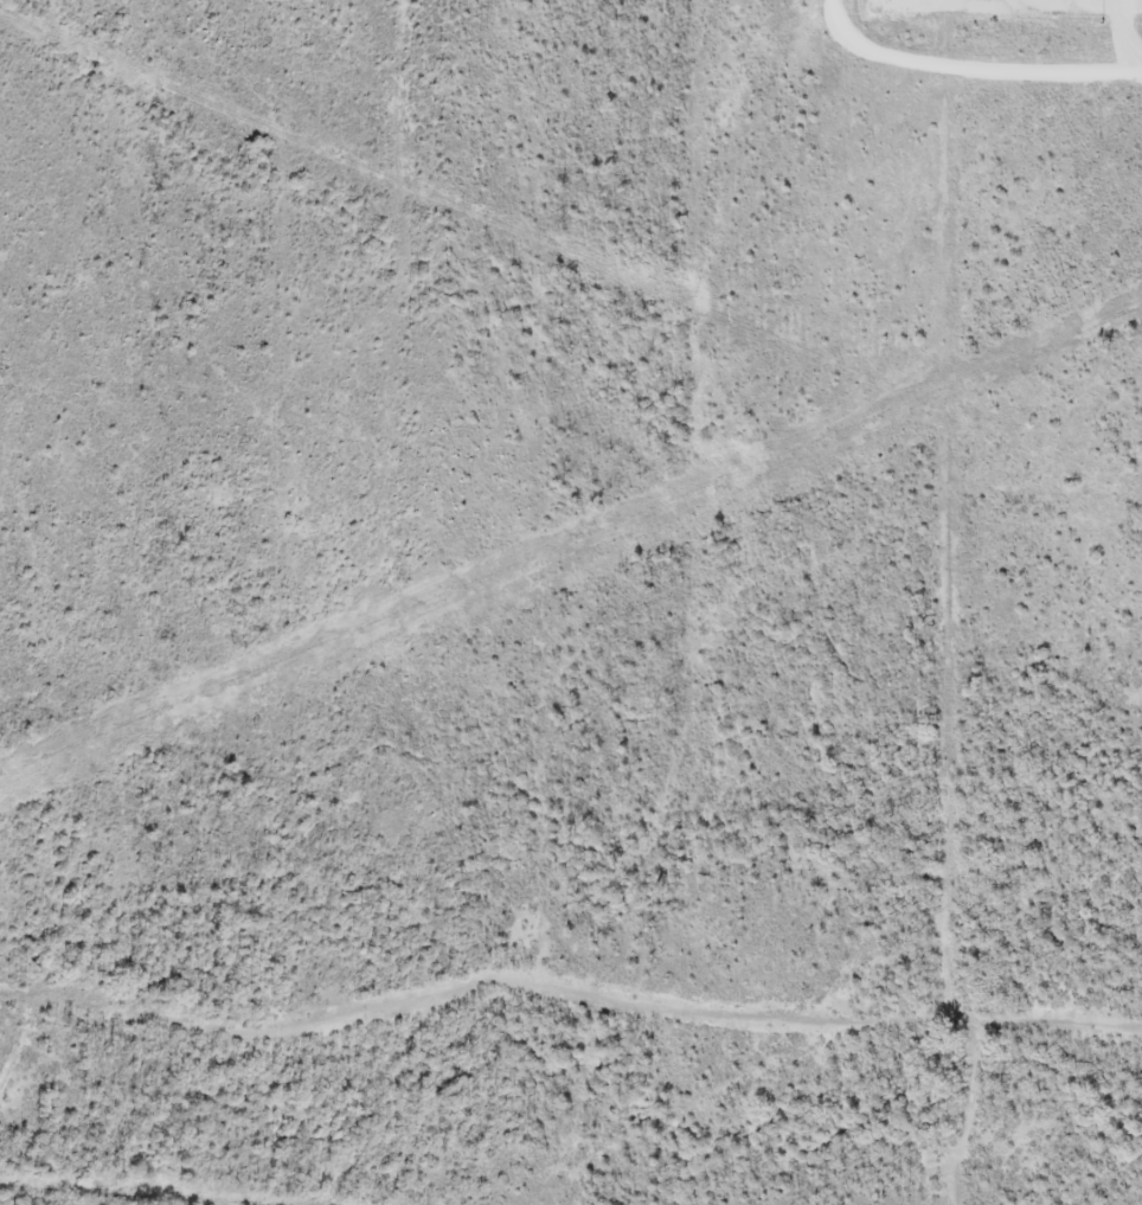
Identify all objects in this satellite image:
road: (1125, 34)

